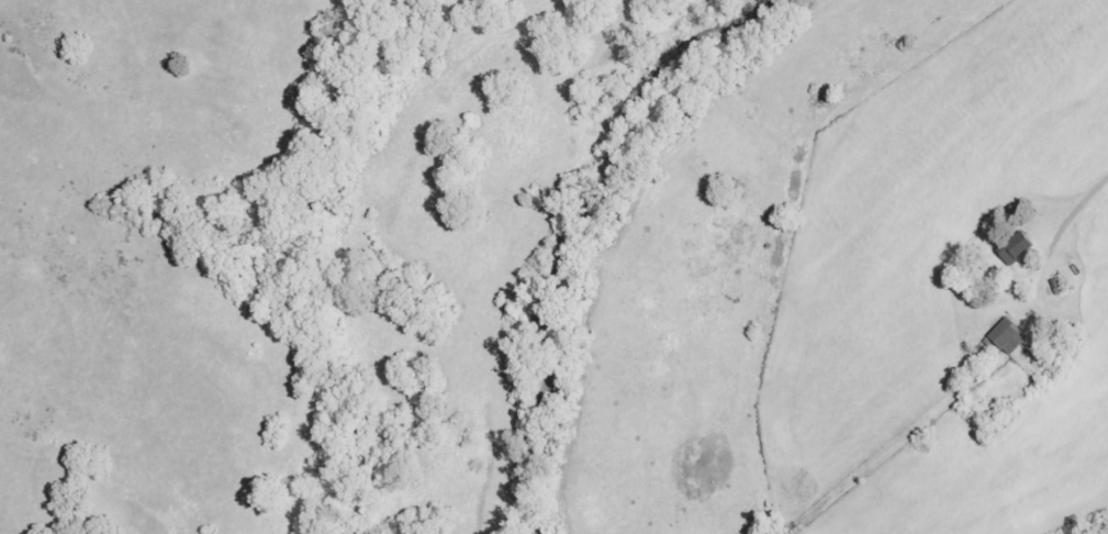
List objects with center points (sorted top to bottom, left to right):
road: (1067, 214)
building: (1015, 248)
building: (1008, 336)

